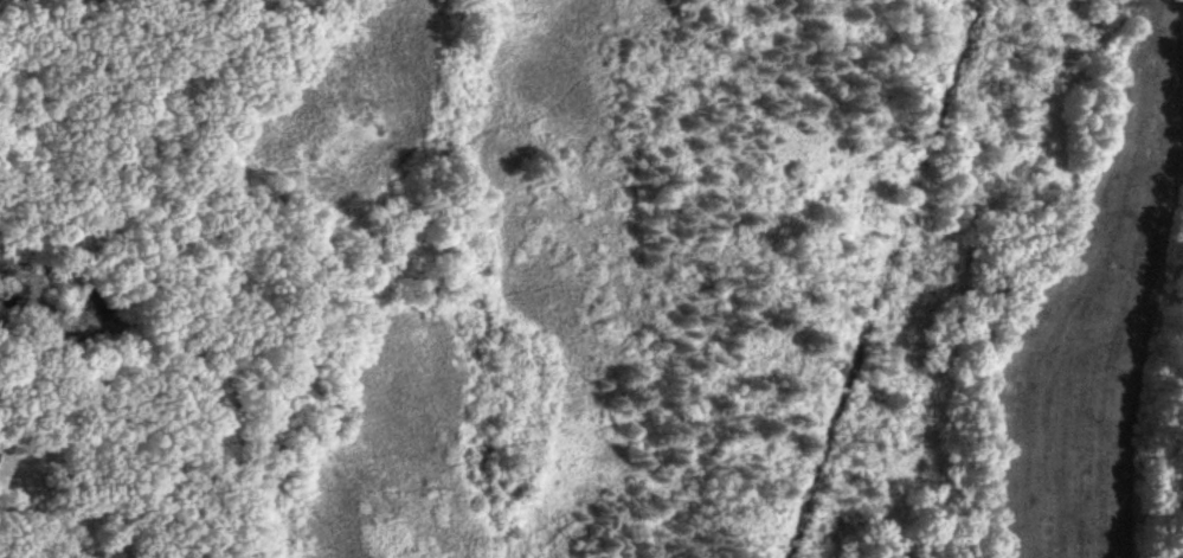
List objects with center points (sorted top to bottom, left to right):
road: (31, 511)

